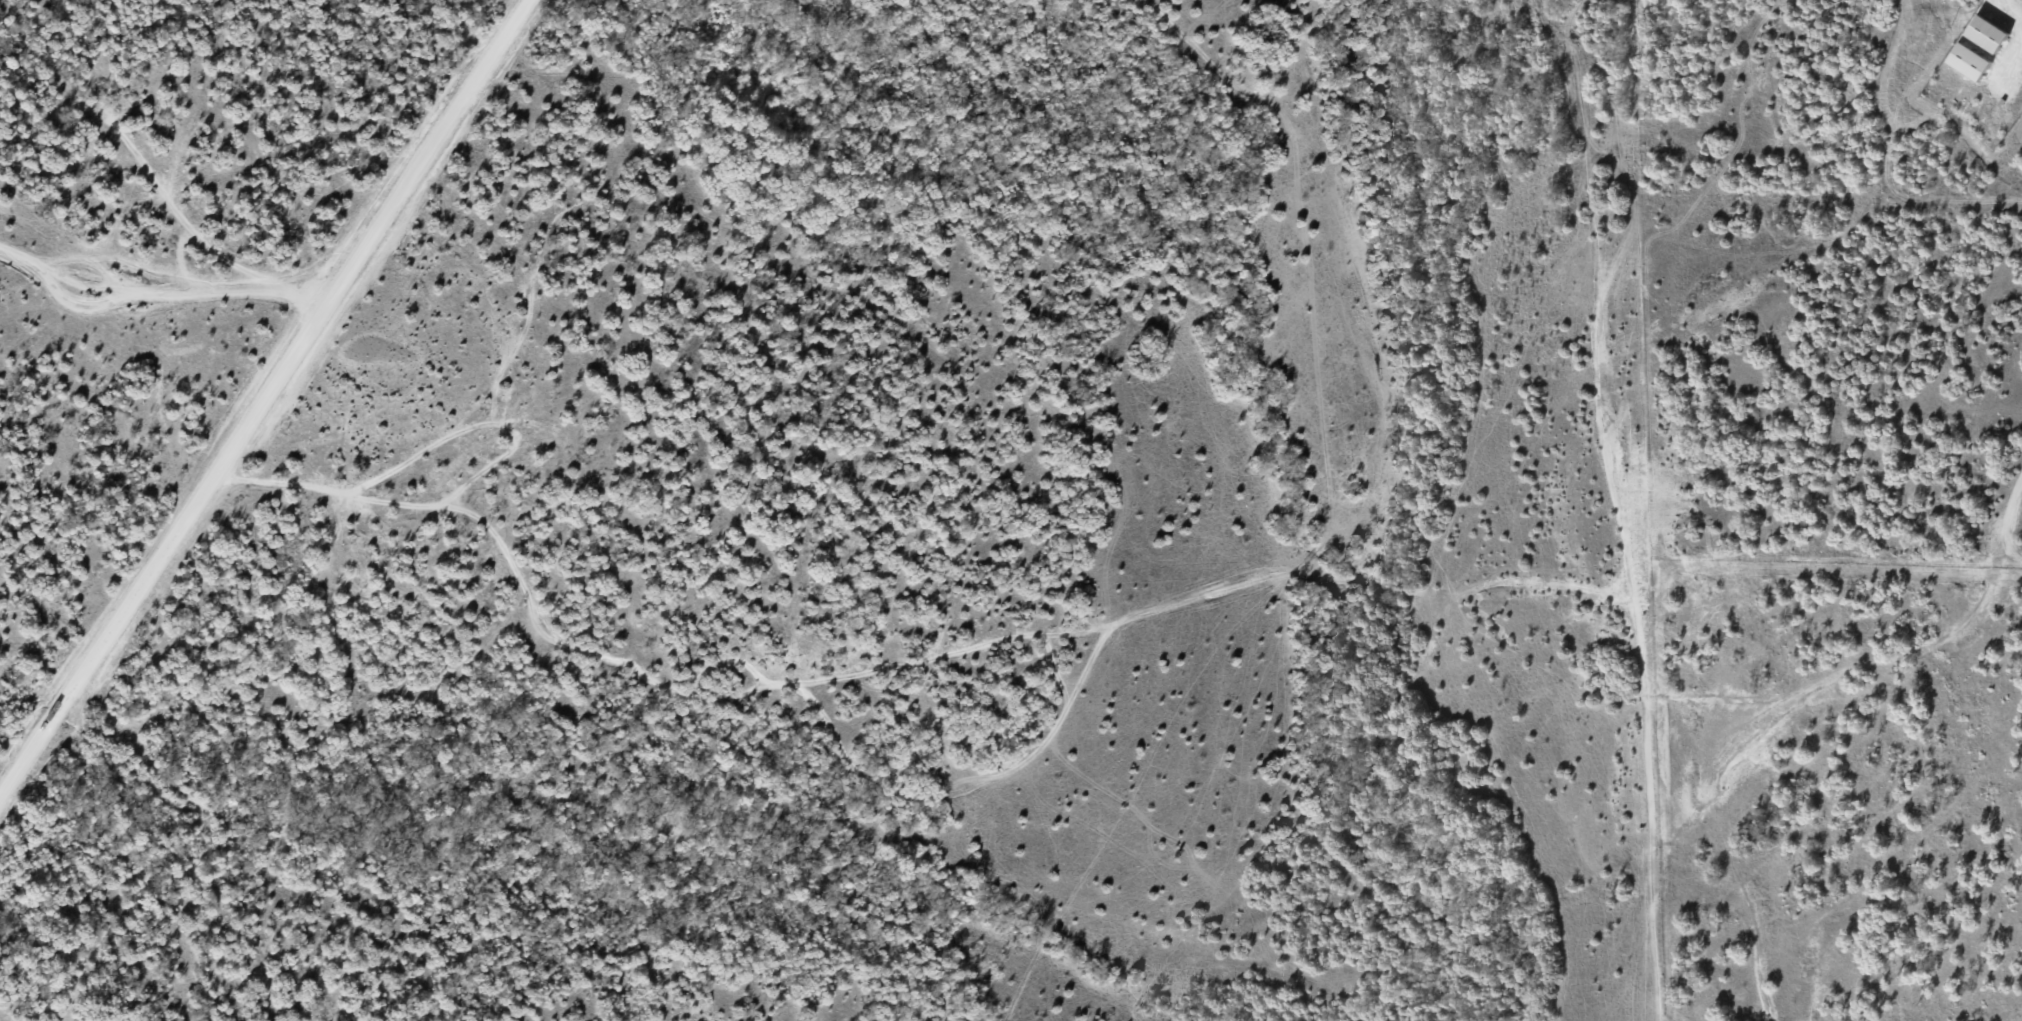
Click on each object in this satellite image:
road: (265, 399)

